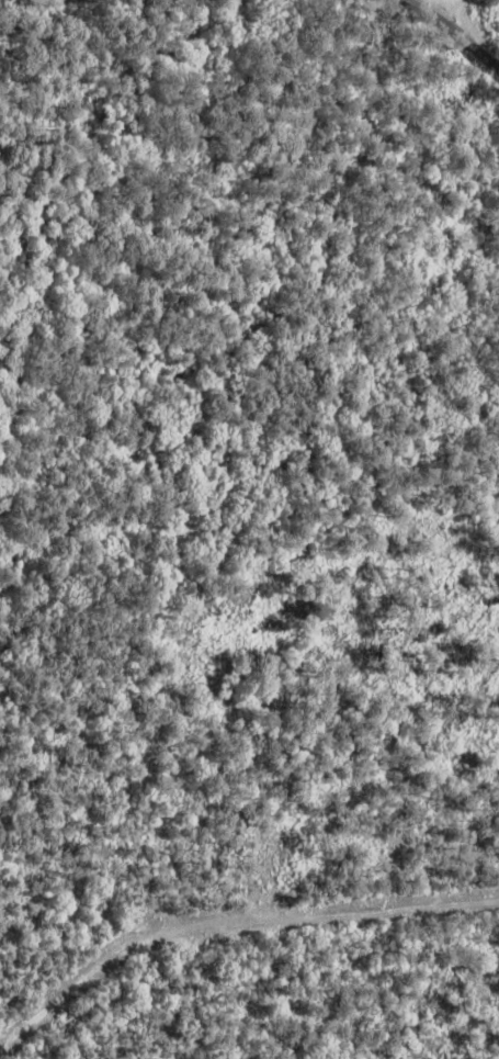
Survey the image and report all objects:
road: (443, 5)
road: (191, 30)
road: (456, 30)
road: (226, 921)

